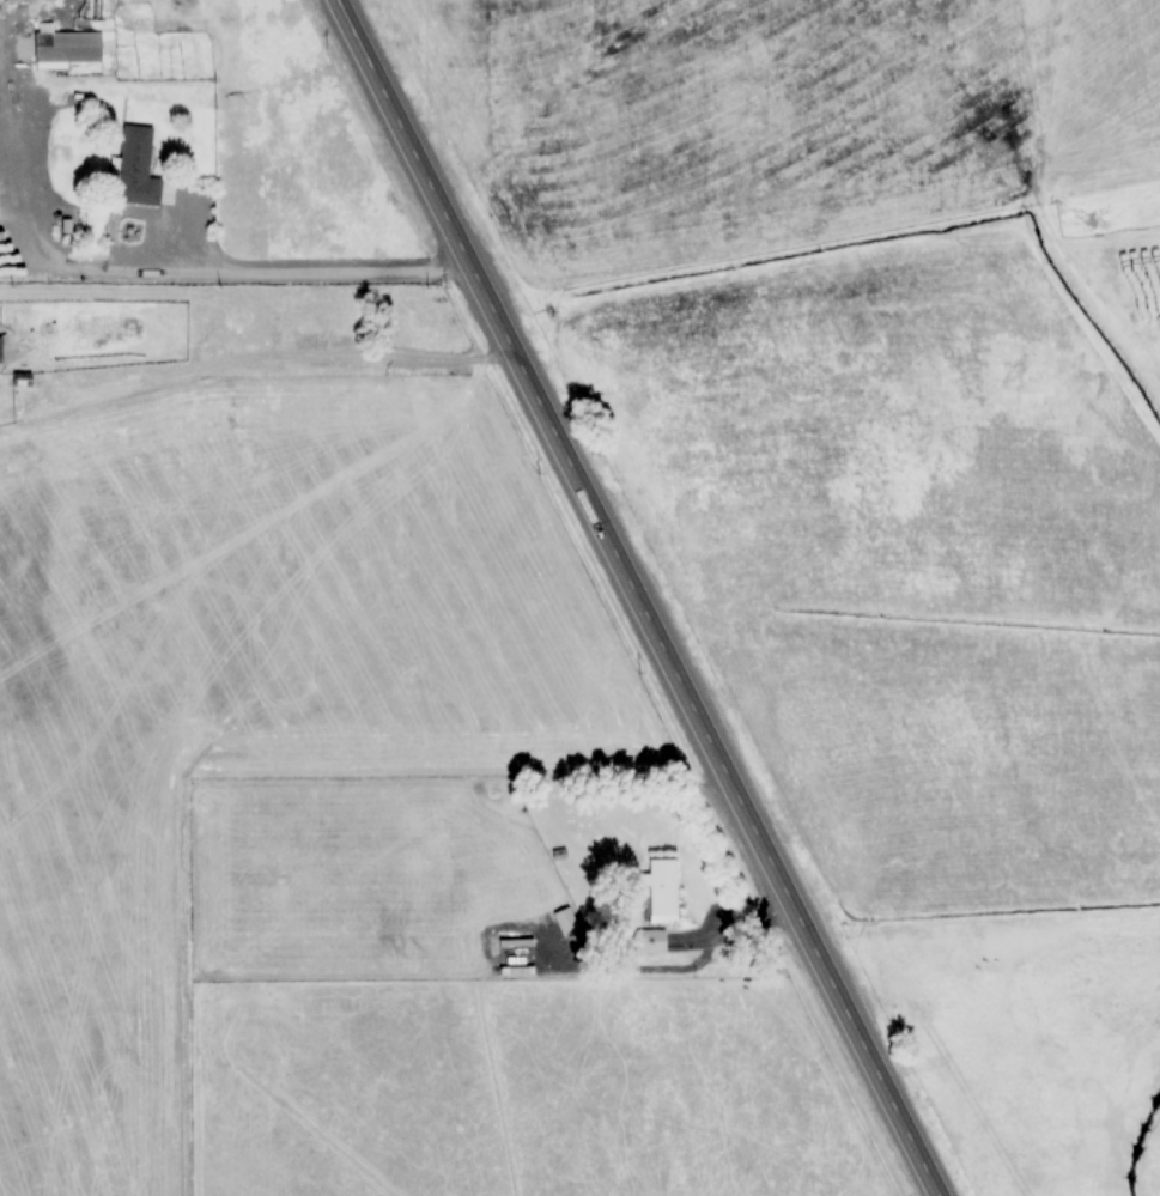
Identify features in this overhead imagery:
building: (67, 47)
building: (136, 168)
building: (1126, 286)
road: (637, 597)
building: (662, 887)
building: (565, 921)
building: (651, 941)

